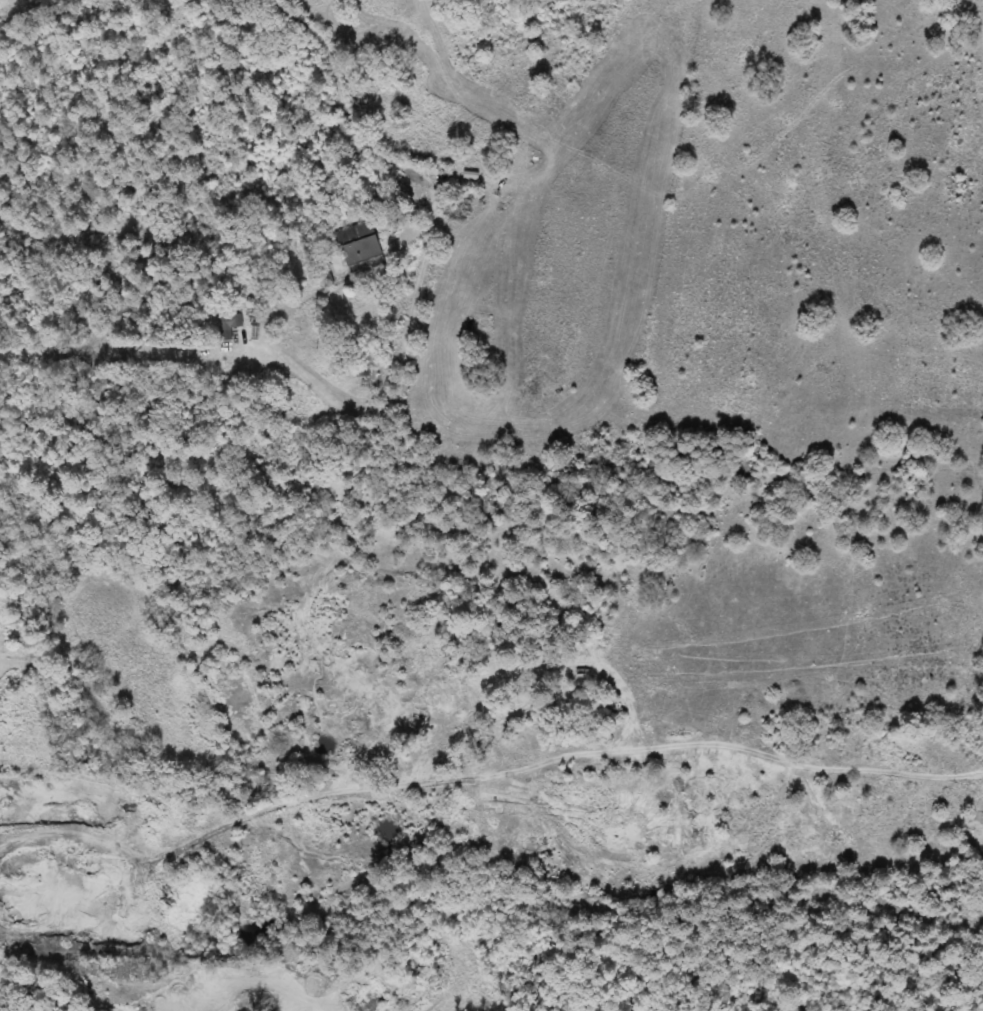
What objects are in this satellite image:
building: (227, 326)

